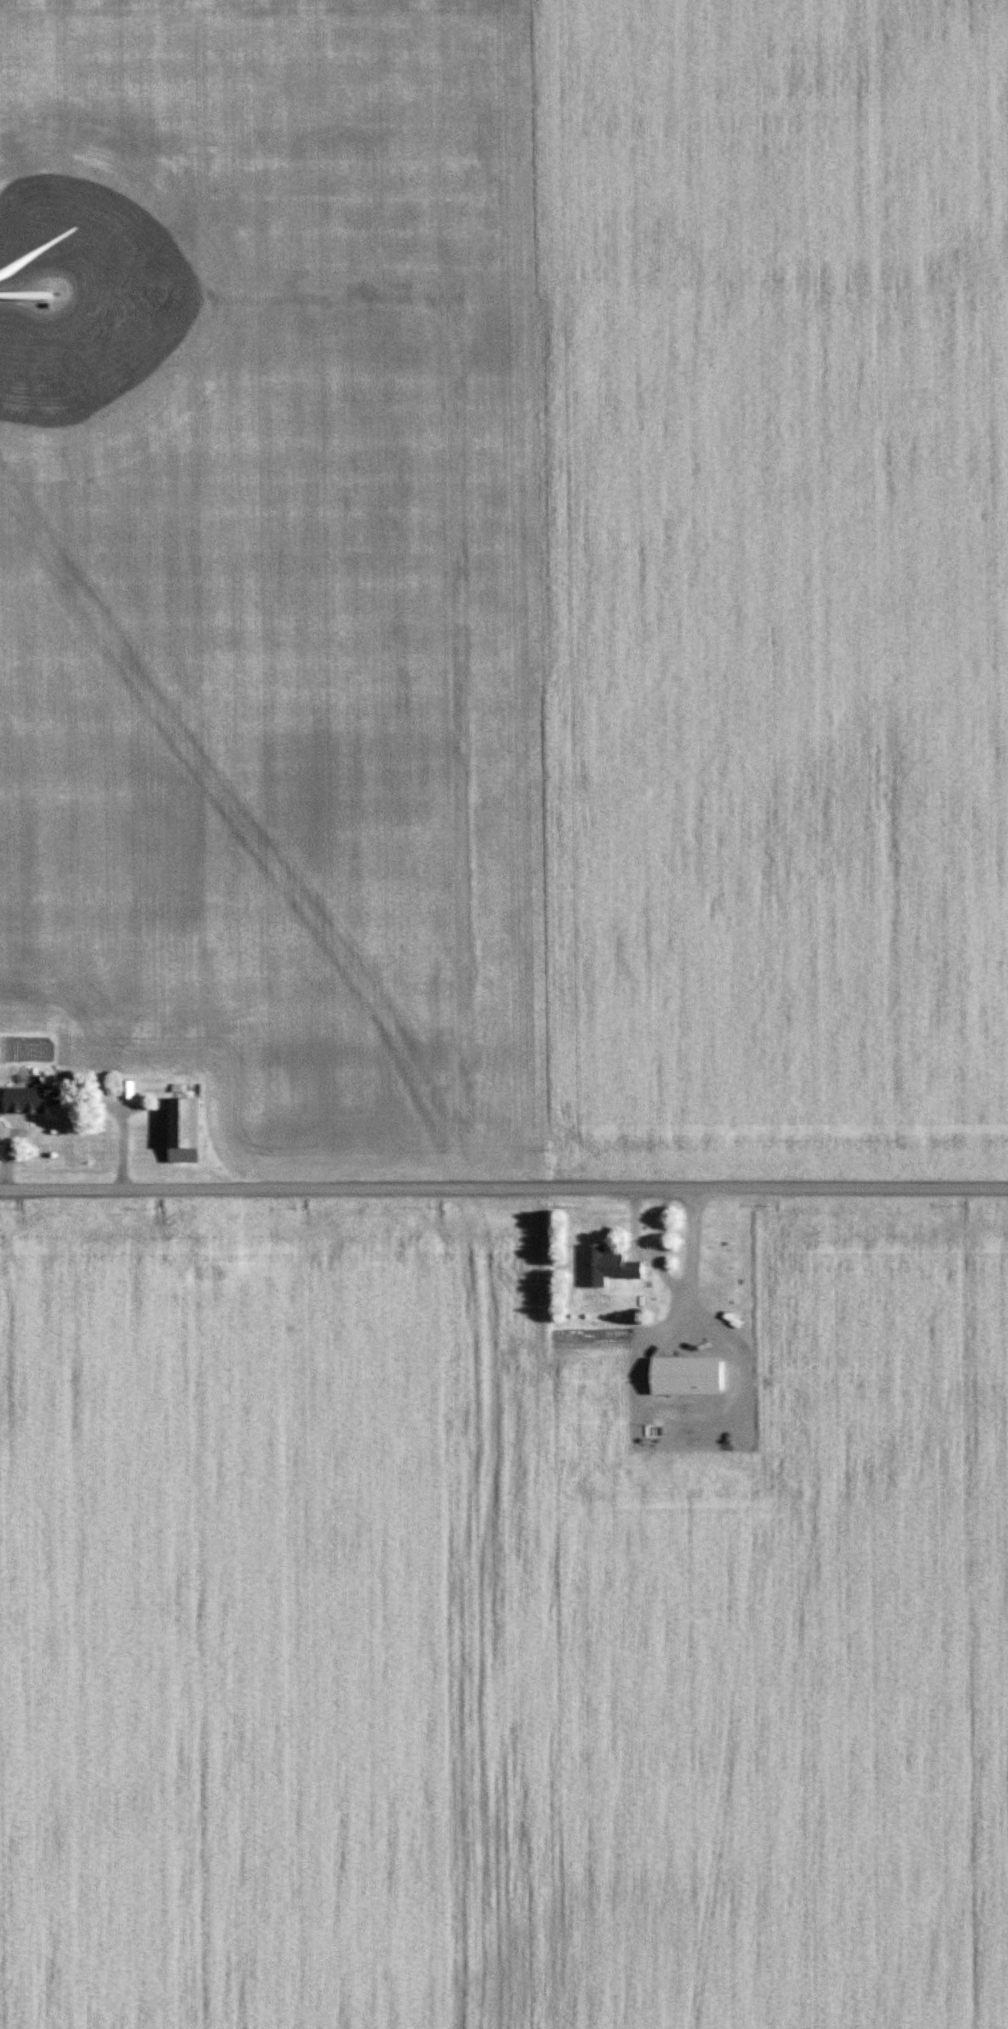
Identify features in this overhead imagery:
wind turbine: (62, 301)
building: (22, 1099)
building: (184, 1130)
road: (504, 1191)
building: (220, 1248)
building: (606, 1265)
building: (687, 1374)

